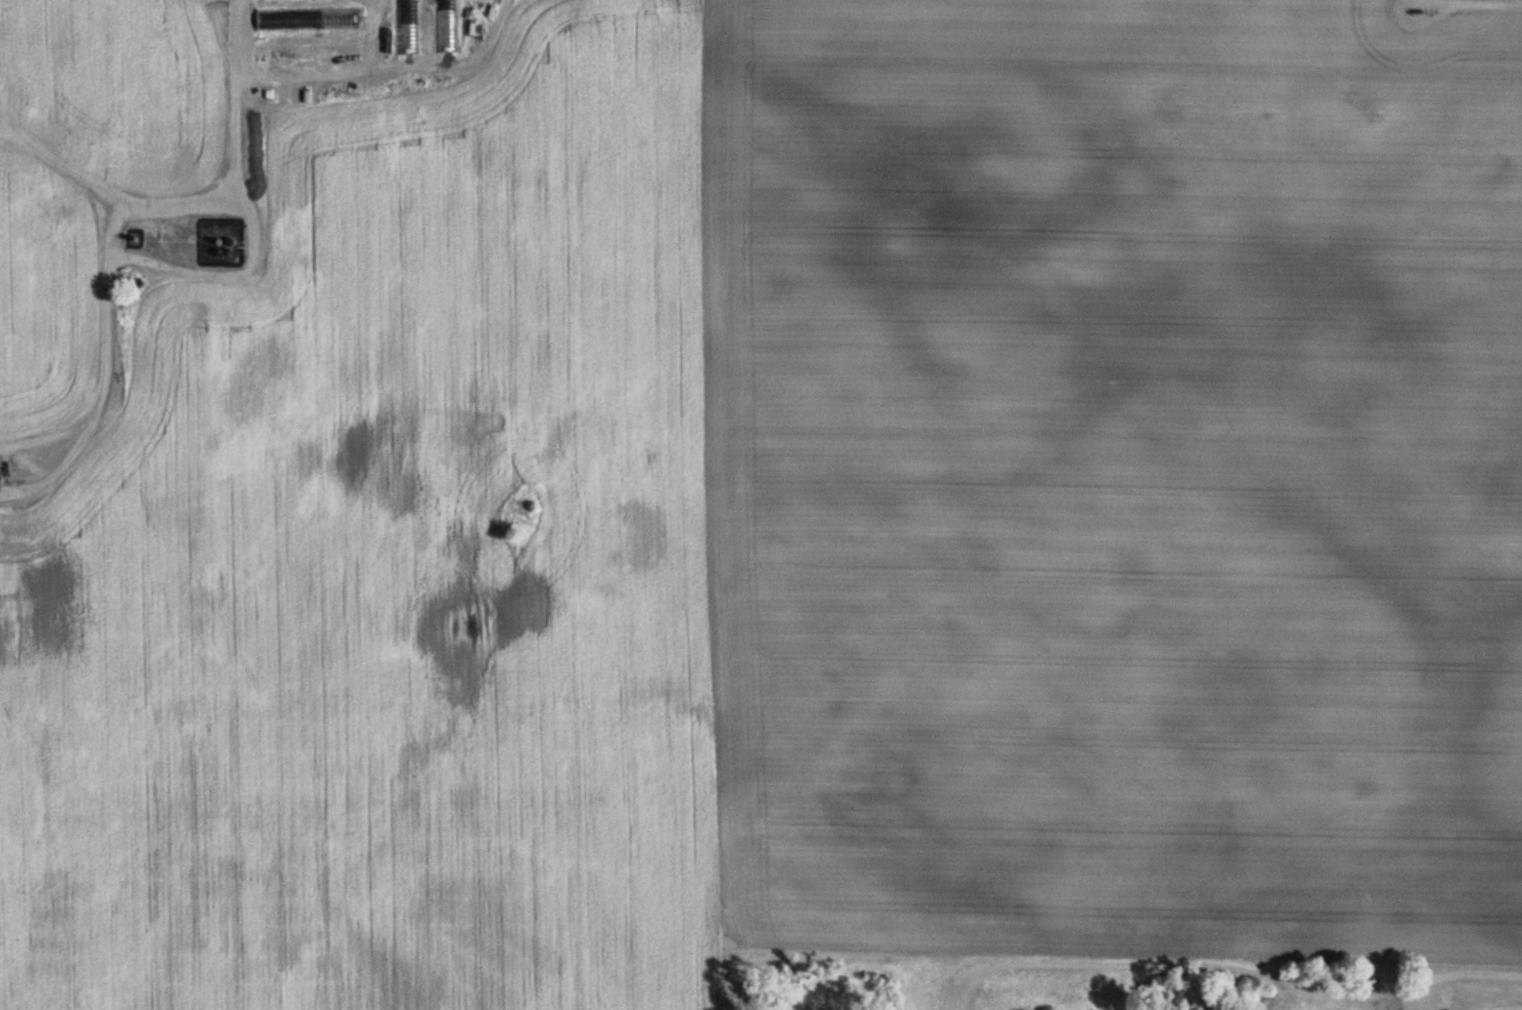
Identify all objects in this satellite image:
petroleum well: (1425, 7)
building: (309, 20)
building: (408, 29)
building: (335, 45)
building: (290, 46)
road: (118, 240)

